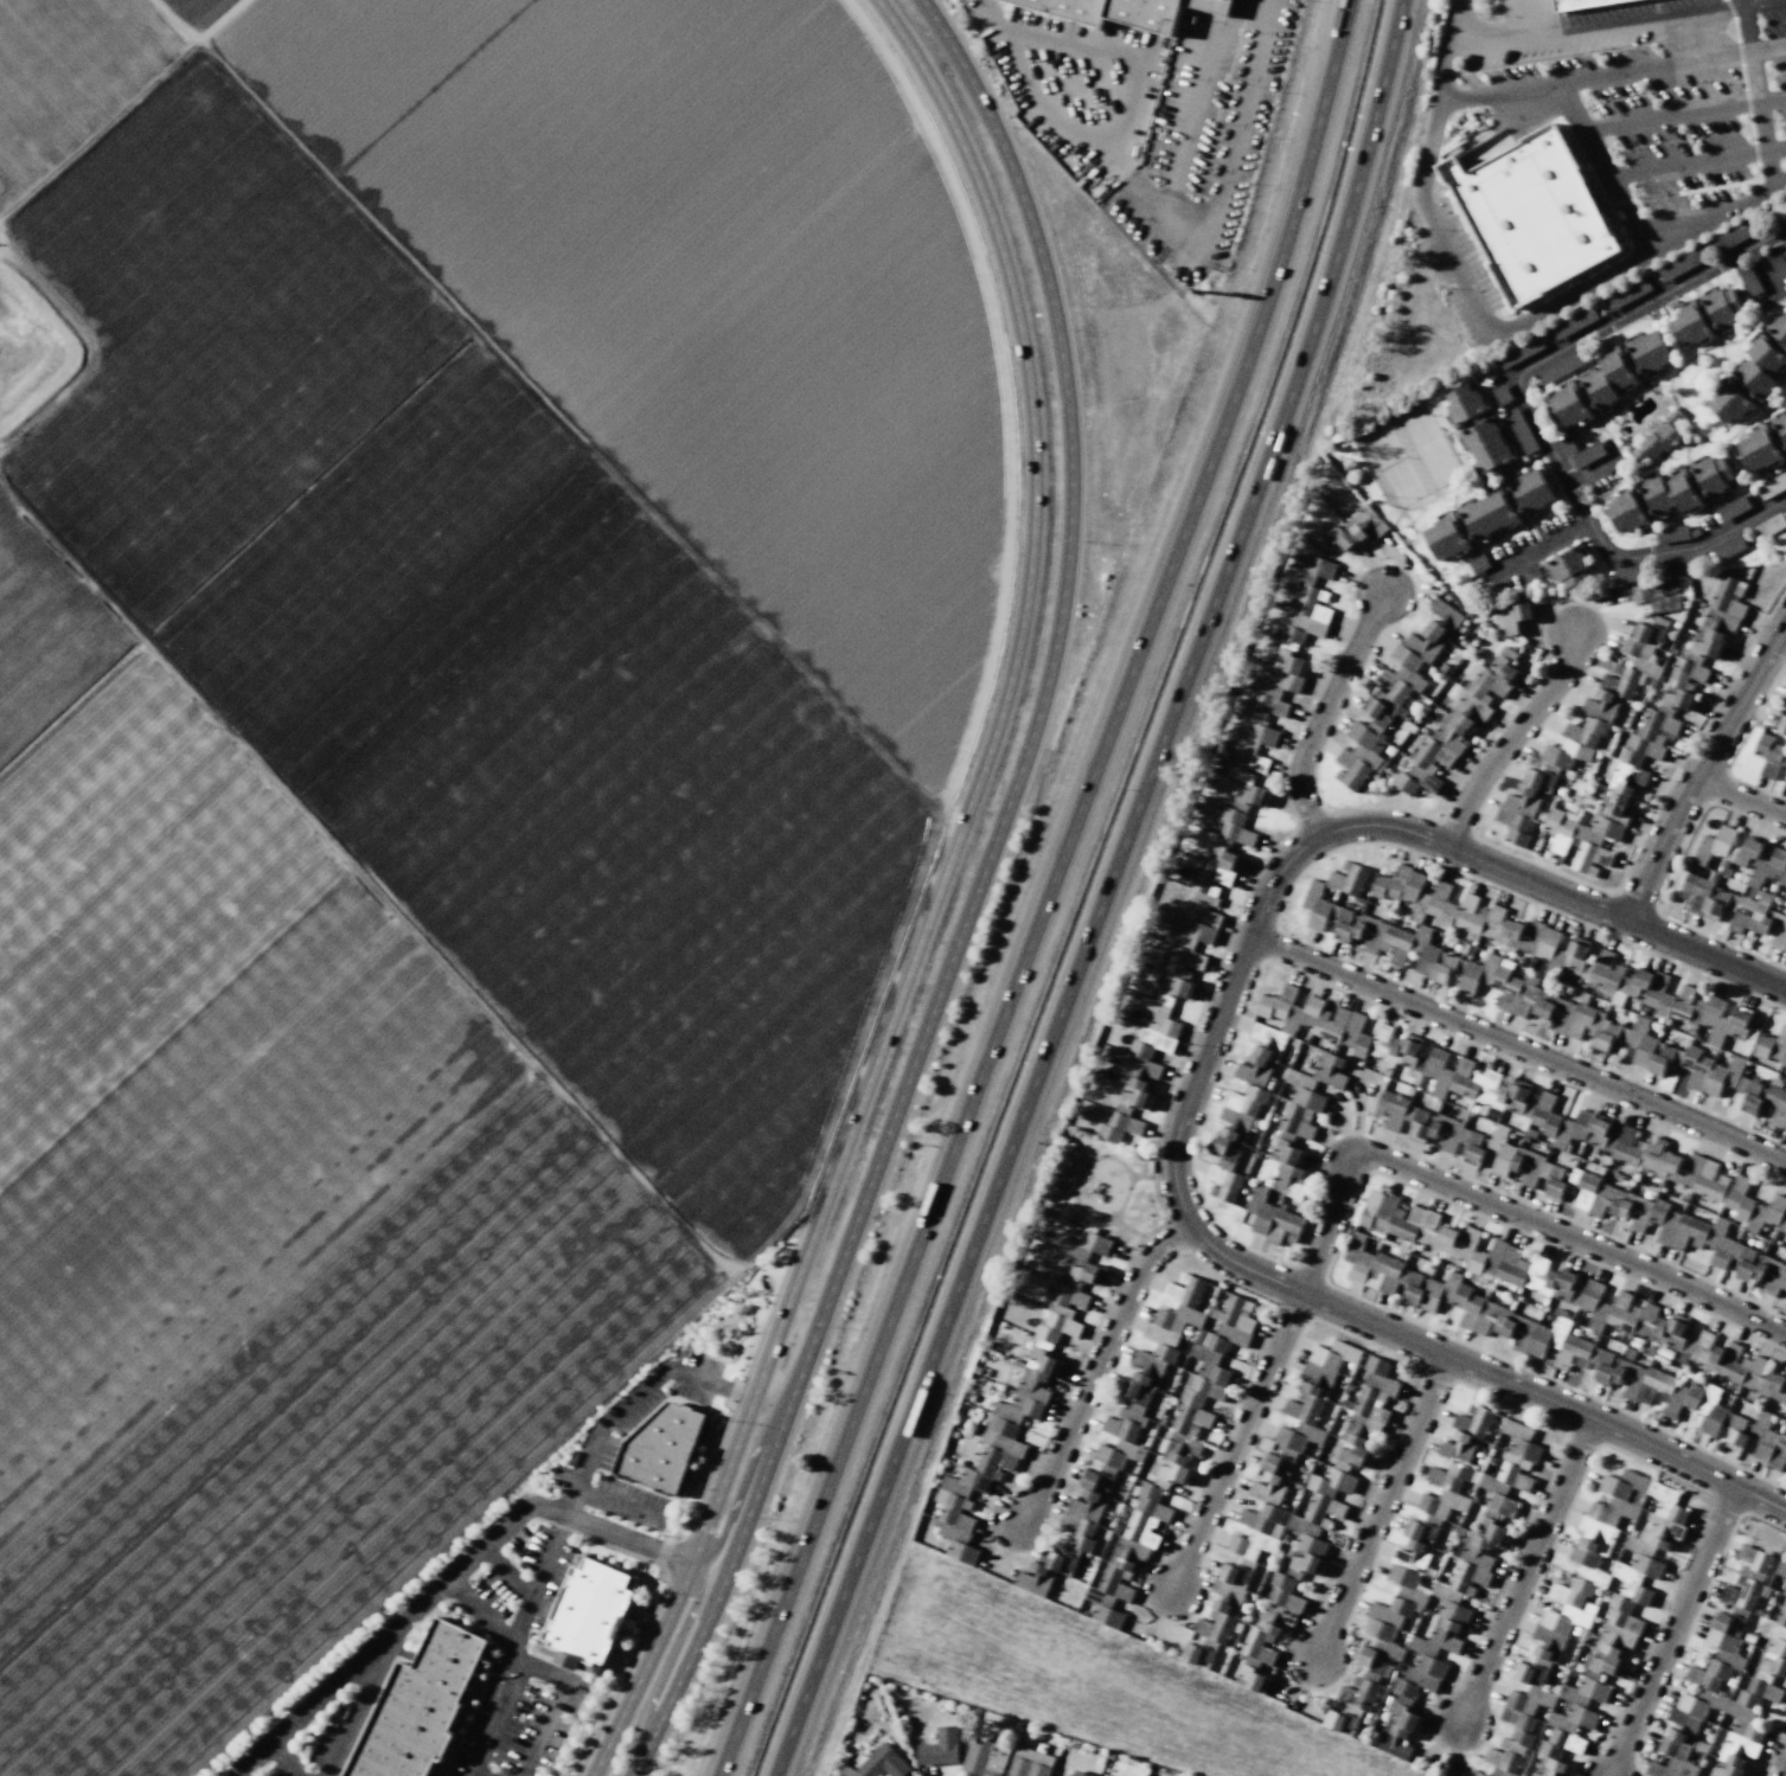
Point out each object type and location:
road: (1743, 1)
road: (1755, 1)
building: (1580, 4)
building: (1124, 11)
road: (1531, 17)
road: (1639, 18)
road: (1493, 39)
road: (1614, 73)
parking lot: (1664, 90)
road: (1758, 95)
road: (1442, 98)
road: (121, 107)
road: (1683, 114)
road: (1696, 162)
road: (1601, 168)
road: (1758, 193)
building: (1531, 216)
road: (1682, 218)
road: (1689, 230)
building: (1734, 236)
building: (1775, 262)
building: (1681, 264)
road: (1458, 267)
parking lot: (1458, 271)
road: (1763, 273)
building: (1748, 278)
building: (1627, 293)
road: (1570, 294)
building: (1723, 307)
building: (1573, 322)
building: (1690, 325)
building: (1779, 328)
wastewater plant: (26, 341)
building: (1519, 351)
building: (1649, 352)
building: (1759, 365)
building: (1561, 367)
building: (1607, 379)
building: (1500, 395)
building: (1729, 400)
building: (1465, 403)
building: (1567, 406)
road: (1530, 413)
building: (1781, 425)
building: (1519, 430)
building: (1658, 437)
park: (1423, 443)
building: (1486, 445)
building: (1567, 447)
building: (1761, 448)
building: (1587, 454)
park: (1390, 461)
road: (1592, 470)
building: (1713, 475)
building: (1772, 485)
building: (1529, 491)
building: (1670, 493)
building: (1733, 508)
building: (1627, 512)
building: (1486, 513)
building: (1768, 526)
building: (1357, 530)
building: (1671, 532)
building: (1445, 537)
building: (1728, 549)
road: (1532, 552)
building: (1478, 564)
building: (1677, 566)
building: (1568, 568)
building: (1311, 570)
building: (1530, 573)
building: (1631, 573)
building: (1640, 594)
building: (1727, 603)
building: (1666, 604)
building: (1516, 617)
road: (1782, 634)
building: (1641, 636)
building: (1708, 645)
building: (1410, 663)
building: (1685, 673)
building: (1279, 680)
building: (1785, 701)
road: (1329, 716)
building: (1593, 719)
building: (1781, 724)
building: (1460, 730)
road: (1513, 740)
building: (1647, 745)
building: (1768, 754)
building: (1358, 757)
crop: (436, 761)
road: (1699, 770)
building: (1785, 783)
building: (1252, 796)
road: (1741, 797)
building: (1522, 806)
building: (1235, 827)
building: (1581, 839)
building: (1722, 840)
building: (1746, 852)
building: (1216, 873)
building: (1347, 878)
road: (1056, 893)
road: (1121, 896)
road: (936, 897)
road: (974, 897)
building: (1702, 897)
building: (1433, 902)
building: (1747, 915)
building: (1201, 922)
building: (1357, 927)
building: (1774, 930)
building: (1531, 937)
building: (1577, 953)
building: (1429, 958)
building: (1445, 969)
building: (1608, 974)
building: (1496, 982)
building: (1639, 983)
building: (1316, 1009)
building: (1699, 1013)
building: (1564, 1017)
building: (1350, 1032)
building: (1382, 1032)
building: (1269, 1036)
building: (1609, 1037)
building: (1772, 1047)
building: (1406, 1049)
road: (1519, 1050)
building: (1644, 1051)
building: (1664, 1058)
building: (1331, 1071)
building: (1705, 1072)
building: (1489, 1088)
building: (1749, 1095)
road: (1192, 1098)
building: (1777, 1107)
building: (1391, 1109)
building: (1301, 1111)
building: (1545, 1114)
building: (1237, 1120)
building: (1119, 1127)
building: (1590, 1128)
building: (1506, 1156)
building: (1667, 1163)
building: (1286, 1165)
building: (1225, 1182)
building: (1577, 1188)
park: (1100, 1191)
building: (1739, 1198)
building: (1620, 1206)
building: (1774, 1210)
road: (1506, 1211)
building: (1639, 1216)
building: (1272, 1218)
building: (1413, 1224)
building: (1782, 1224)
building: (1694, 1233)
building: (1094, 1243)
building: (1372, 1267)
building: (1750, 1267)
building: (1523, 1270)
building: (1087, 1274)
building: (1774, 1283)
building: (1185, 1293)
building: (1422, 1293)
building: (1470, 1309)
building: (1637, 1319)
building: (1541, 1339)
building: (1210, 1366)
road: (1097, 1371)
building: (1748, 1371)
building: (1141, 1385)
building: (1662, 1390)
building: (1313, 1394)
building: (1371, 1399)
building: (1016, 1406)
building: (1516, 1430)
building: (1466, 1432)
building: (1736, 1435)
road: (1236, 1441)
building: (661, 1447)
building: (1355, 1451)
building: (1518, 1464)
building: (1274, 1467)
building: (1171, 1468)
building: (1443, 1485)
building: (1257, 1490)
building: (1327, 1493)
road: (621, 1506)
road: (1381, 1506)
building: (1086, 1508)
building: (1146, 1515)
road: (731, 1517)
building: (1481, 1544)
building: (961, 1552)
building: (1306, 1556)
road: (468, 1563)
building: (1614, 1565)
road: (1525, 1570)
building: (1780, 1570)
building: (1044, 1572)
road: (505, 1573)
building: (1746, 1578)
building: (1402, 1583)
building: (1231, 1586)
building: (1110, 1591)
building: (1285, 1592)
building: (1781, 1610)
building: (588, 1615)
road: (690, 1620)
road: (1671, 1631)
building: (1260, 1642)
building: (1432, 1652)
building: (1368, 1660)
road: (343, 1676)
building: (1763, 1676)
building: (1697, 1692)
building: (1357, 1695)
road: (552, 1705)
building: (420, 1706)
road: (352, 1714)
building: (1339, 1720)
parking lot: (514, 1724)
building: (1542, 1724)
building: (1398, 1733)
parking lot: (321, 1737)
building: (940, 1748)
building: (985, 1757)
road: (287, 1758)
building: (883, 1762)
building: (1029, 1763)
building: (1080, 1774)

